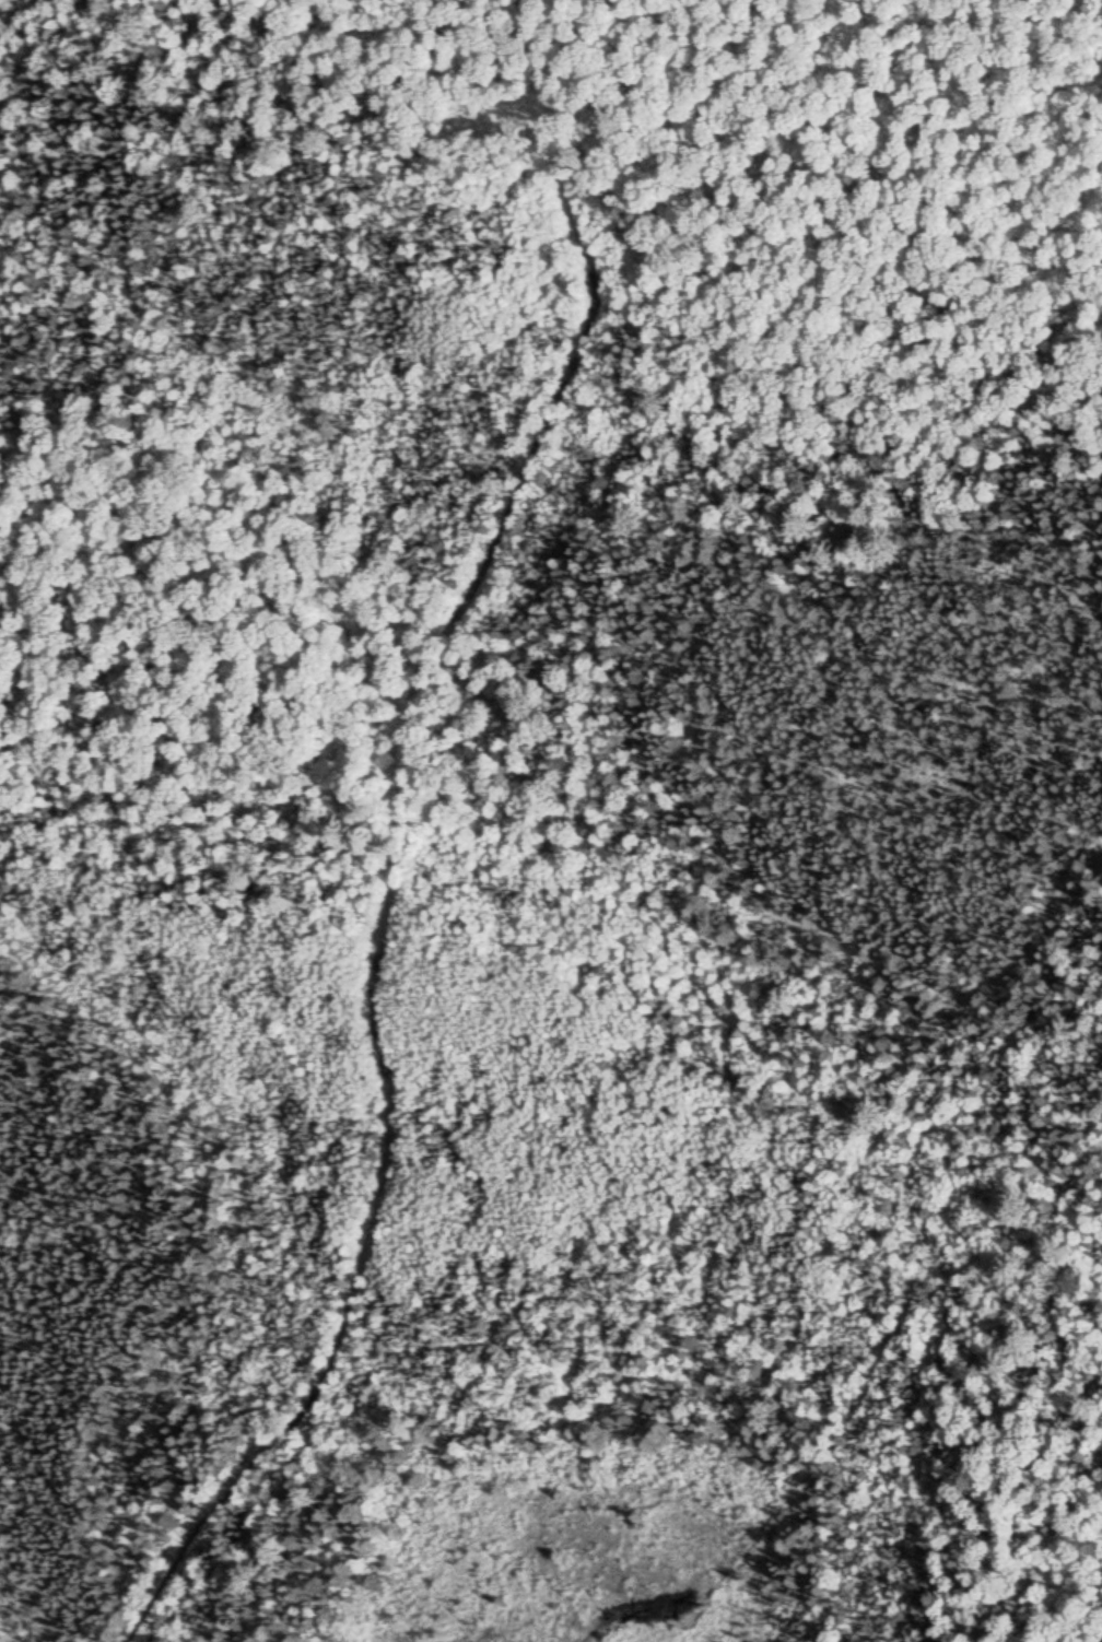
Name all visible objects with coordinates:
road: (364, 830)

